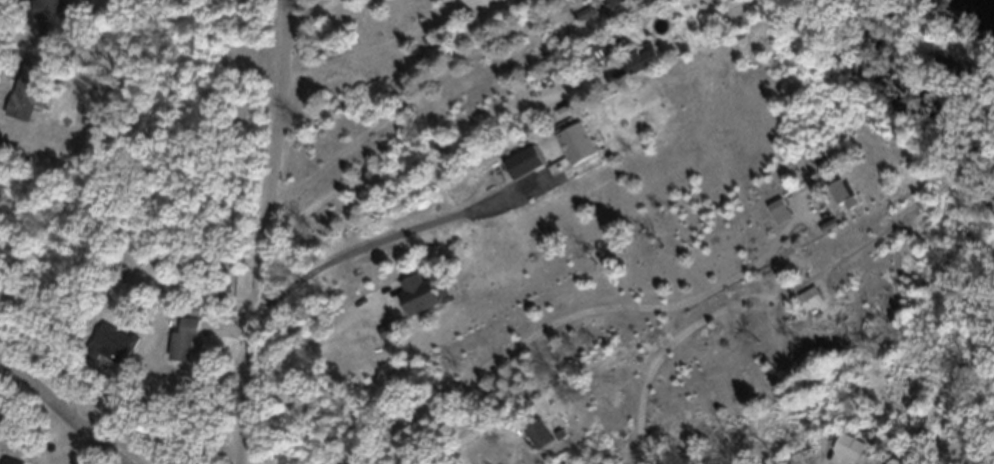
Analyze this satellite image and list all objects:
building: (612, 6)
road: (307, 10)
building: (46, 16)
road: (376, 42)
building: (639, 65)
road: (406, 93)
building: (19, 113)
building: (573, 151)
road: (436, 169)
building: (521, 170)
building: (843, 201)
building: (779, 217)
road: (263, 231)
road: (387, 231)
building: (416, 300)
road: (553, 314)
road: (664, 342)
building: (182, 348)
building: (106, 355)
road: (311, 365)
road: (62, 408)
road: (483, 446)

